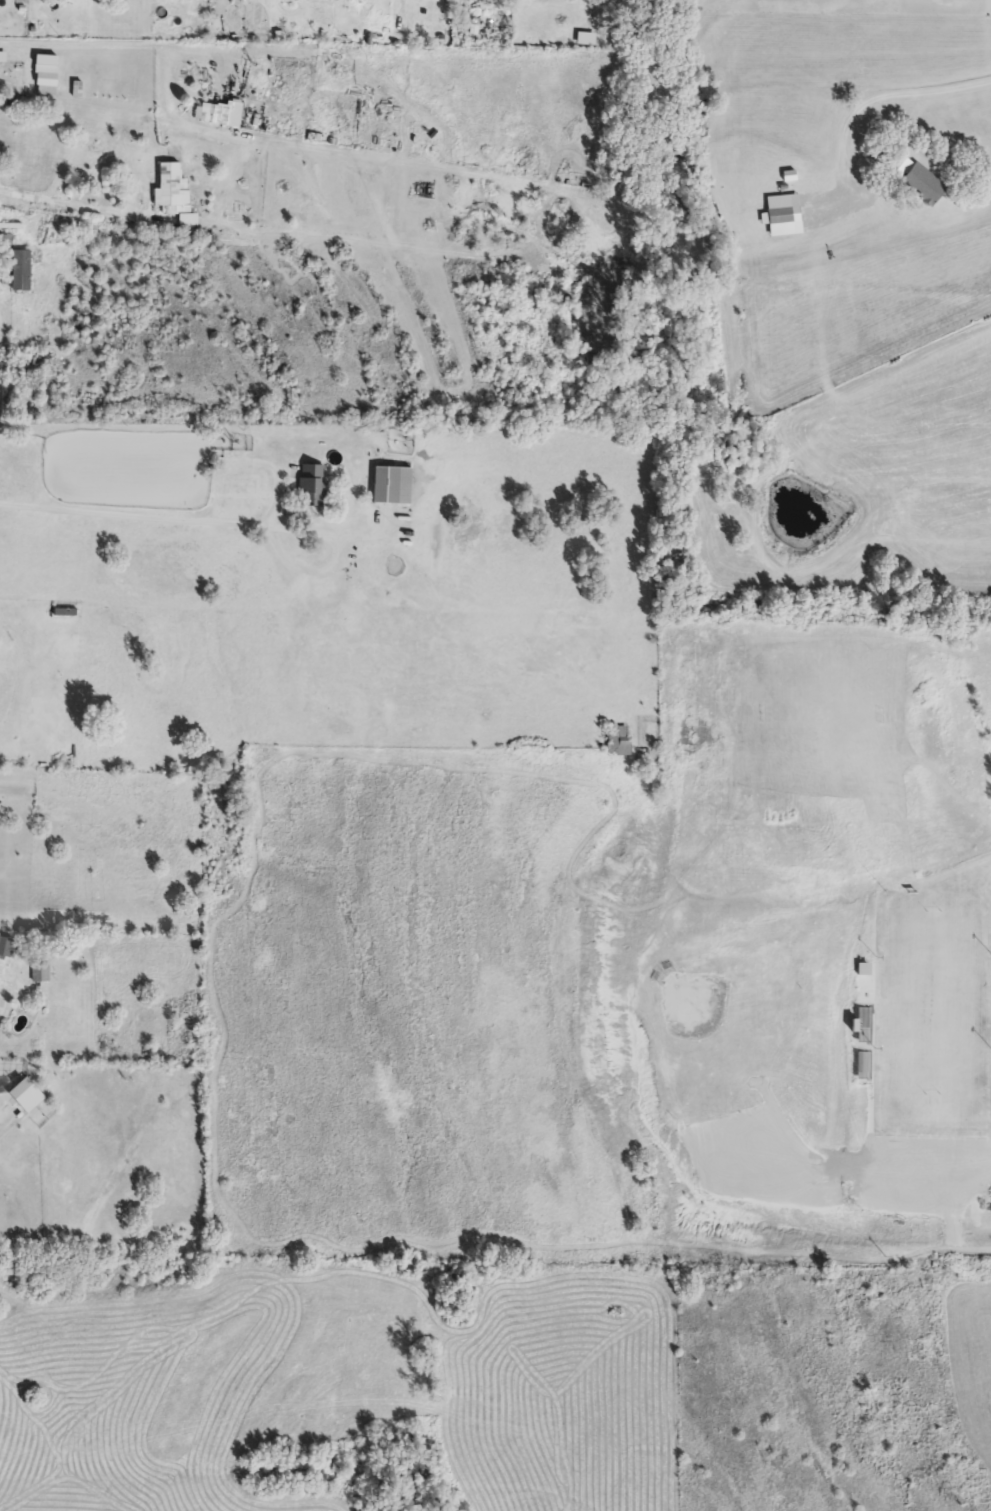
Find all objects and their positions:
road: (169, 48)
building: (3, 57)
building: (46, 76)
road: (876, 95)
building: (224, 116)
building: (924, 185)
building: (170, 187)
road: (80, 206)
building: (780, 216)
building: (21, 271)
building: (312, 486)
building: (393, 487)
road: (131, 519)
road: (336, 562)
building: (65, 613)
building: (619, 742)
building: (7, 948)
building: (40, 973)
building: (27, 1095)

